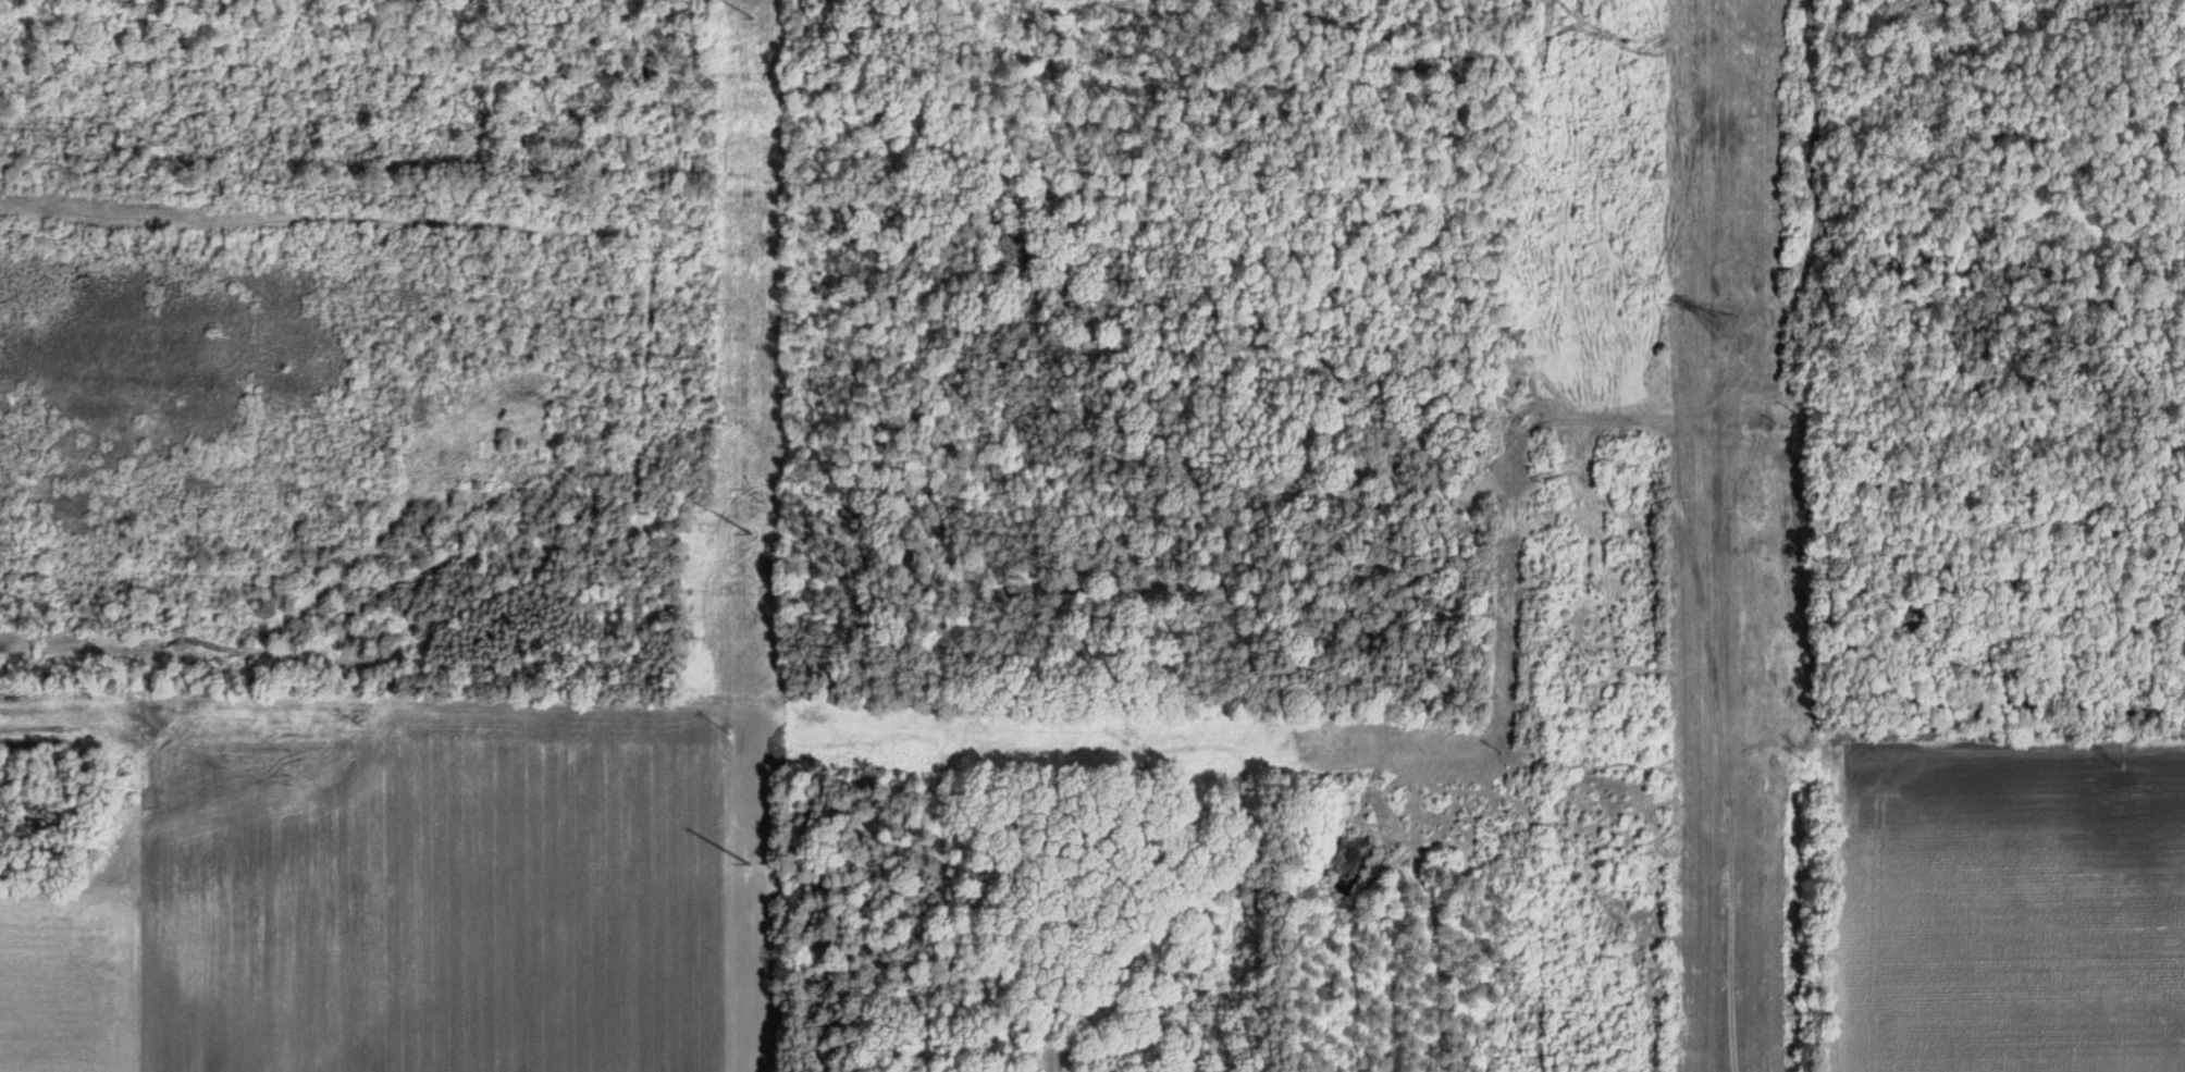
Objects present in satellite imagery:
power tower: (1730, 321)

